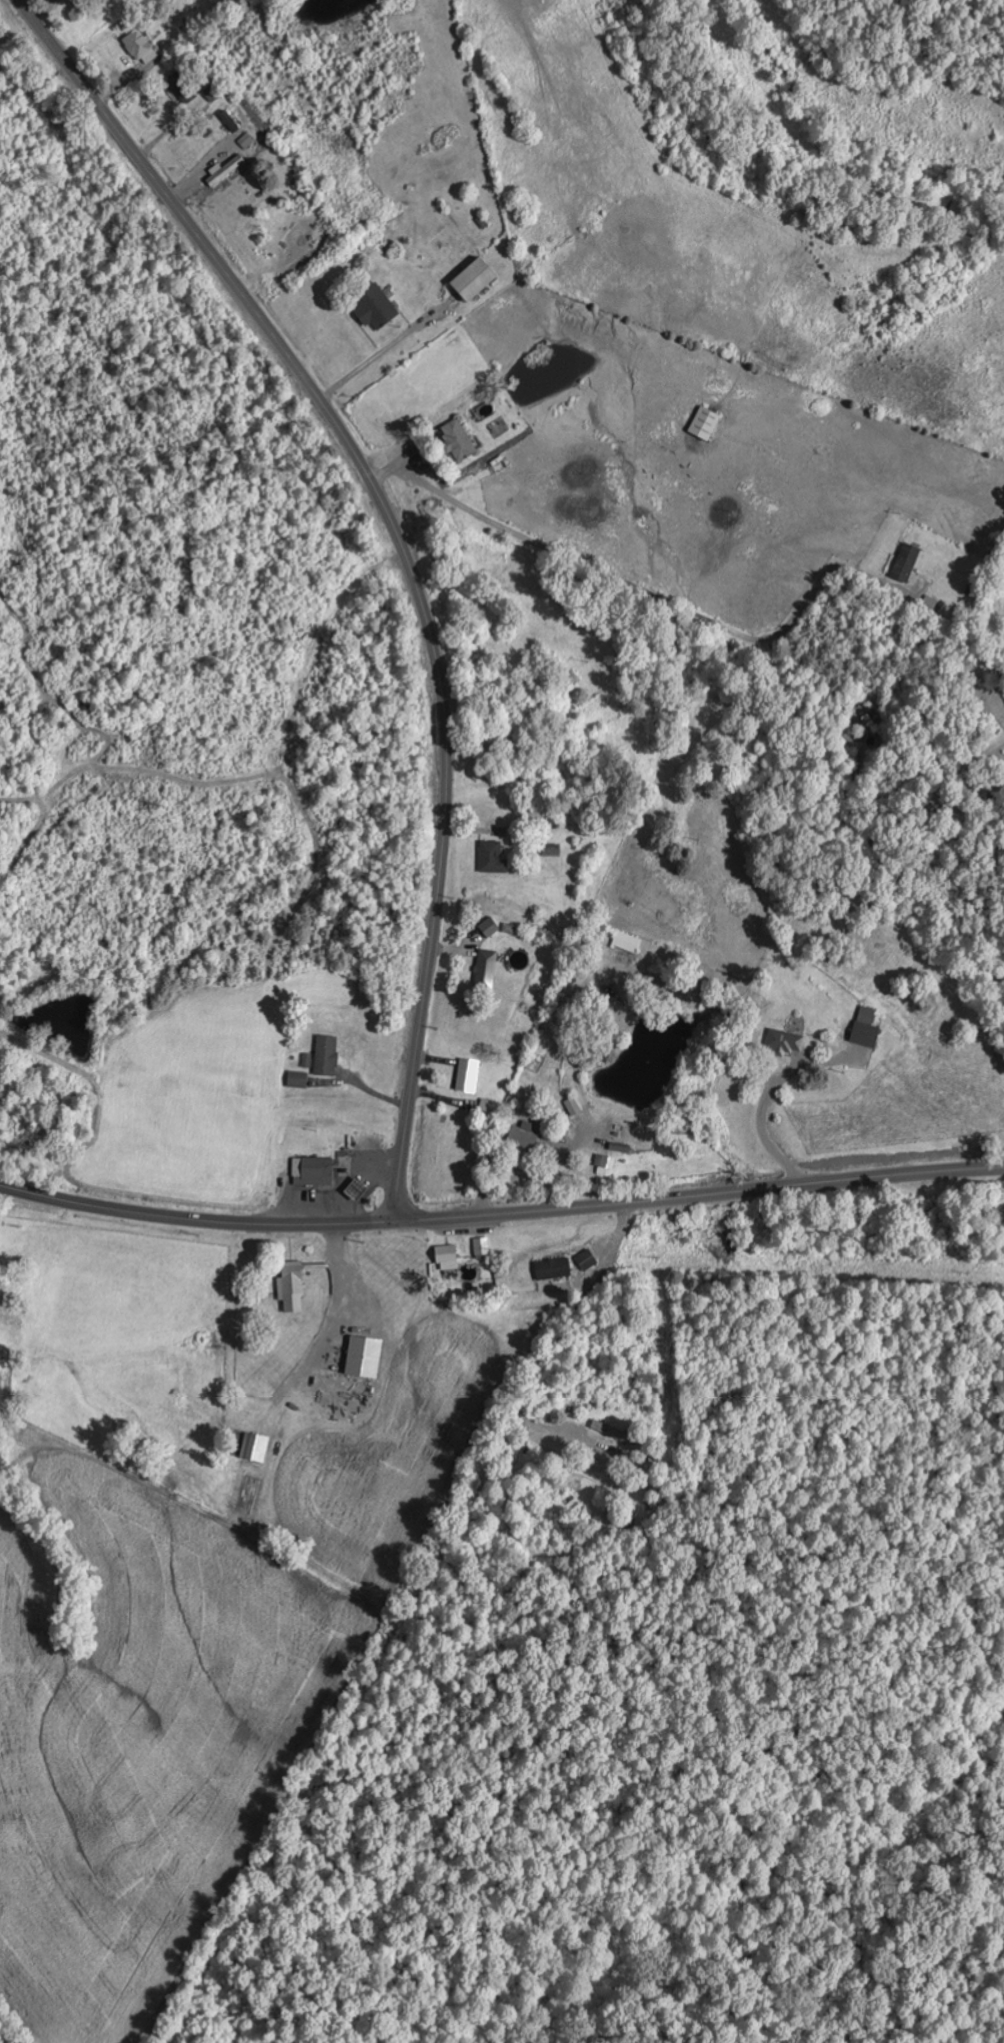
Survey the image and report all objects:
building: (141, 47)
building: (176, 84)
building: (230, 121)
building: (247, 141)
building: (226, 170)
building: (475, 278)
building: (376, 306)
building: (705, 422)
building: (458, 439)
road: (404, 553)
building: (907, 562)
building: (552, 851)
building: (493, 857)
building: (490, 927)
building: (627, 941)
building: (488, 964)
building: (867, 1027)
building: (327, 1055)
building: (307, 1060)
building: (468, 1075)
building: (0, 1079)
building: (298, 1079)
road: (98, 1098)
building: (573, 1106)
building: (525, 1136)
building: (605, 1163)
building: (313, 1171)
road: (698, 1194)
road: (195, 1218)
building: (482, 1247)
building: (448, 1257)
building: (586, 1259)
building: (554, 1268)
building: (294, 1289)
building: (365, 1357)
building: (611, 1431)
road: (390, 1623)

